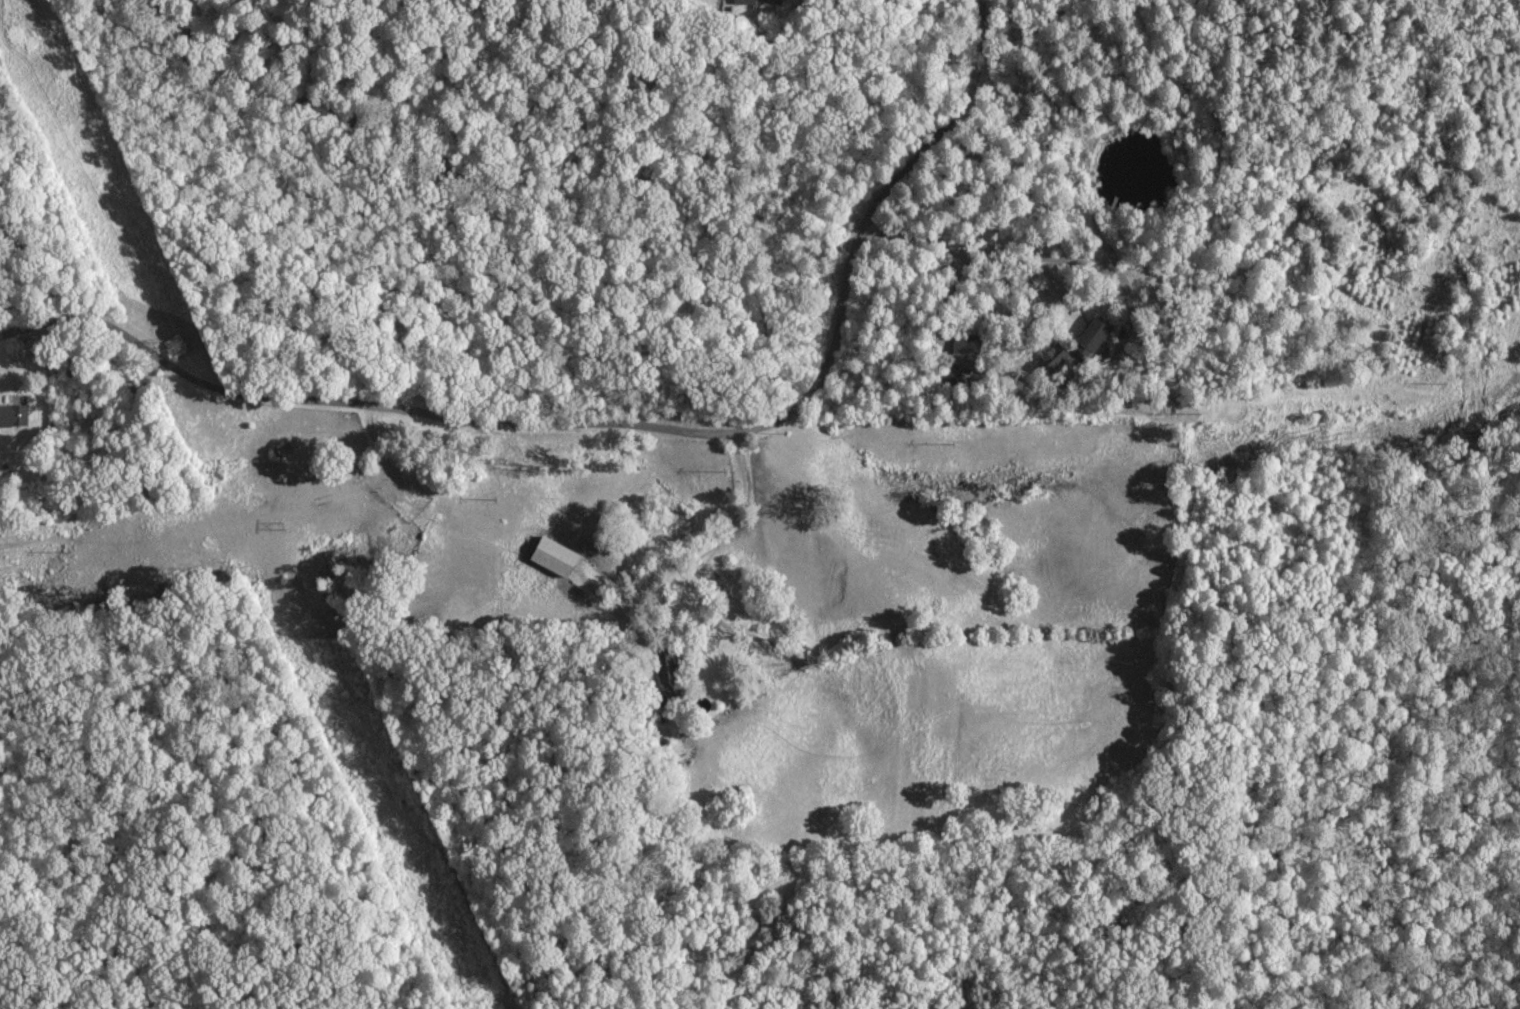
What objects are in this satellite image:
road: (865, 55)
road: (637, 59)
road: (826, 83)
road: (962, 93)
road: (94, 323)
building: (1084, 338)
building: (961, 344)
power tower: (166, 347)
building: (12, 415)
road: (618, 424)
building: (549, 557)
power tower: (458, 973)

